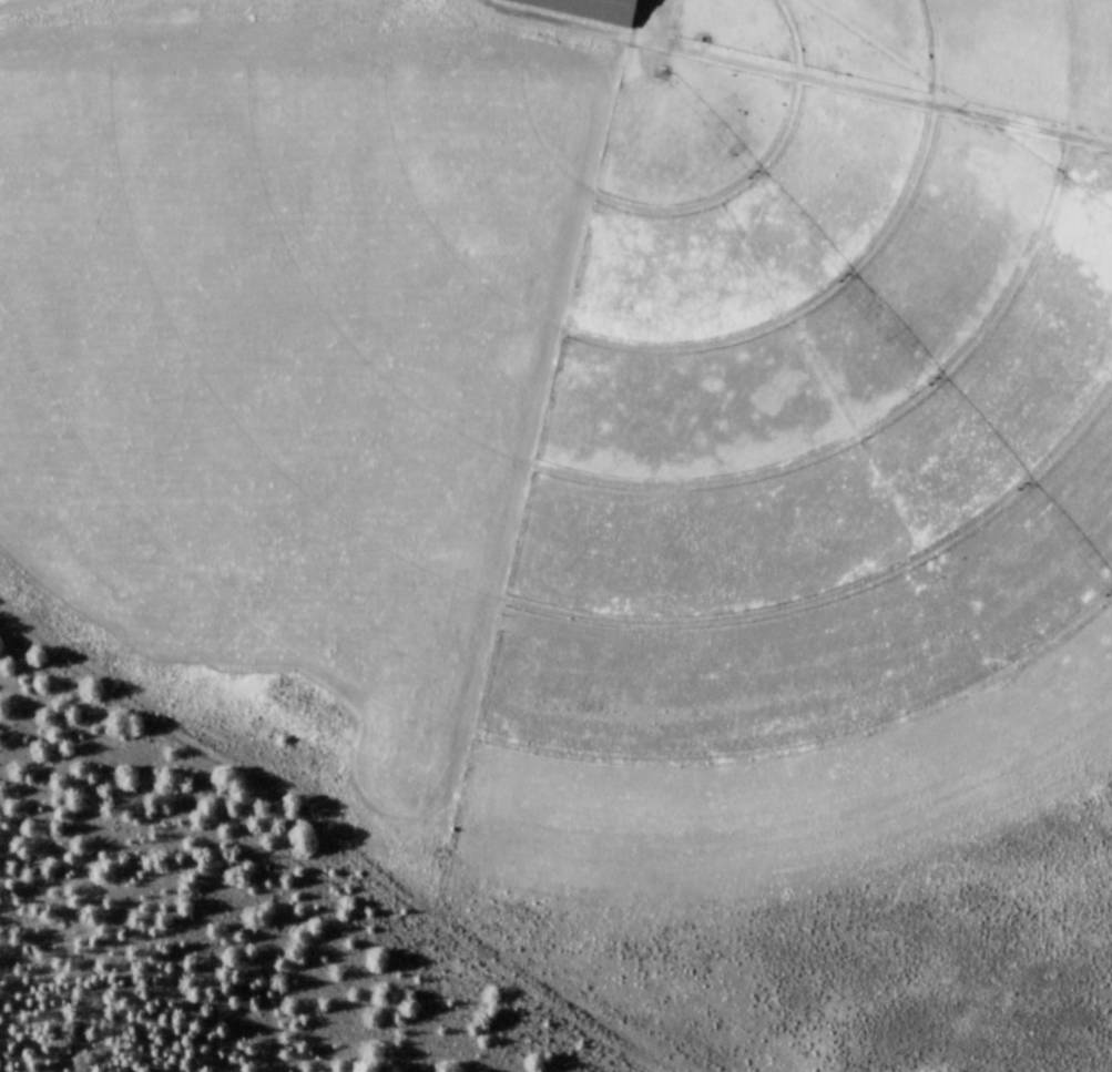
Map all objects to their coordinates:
road: (18, 4)
building: (610, 10)

